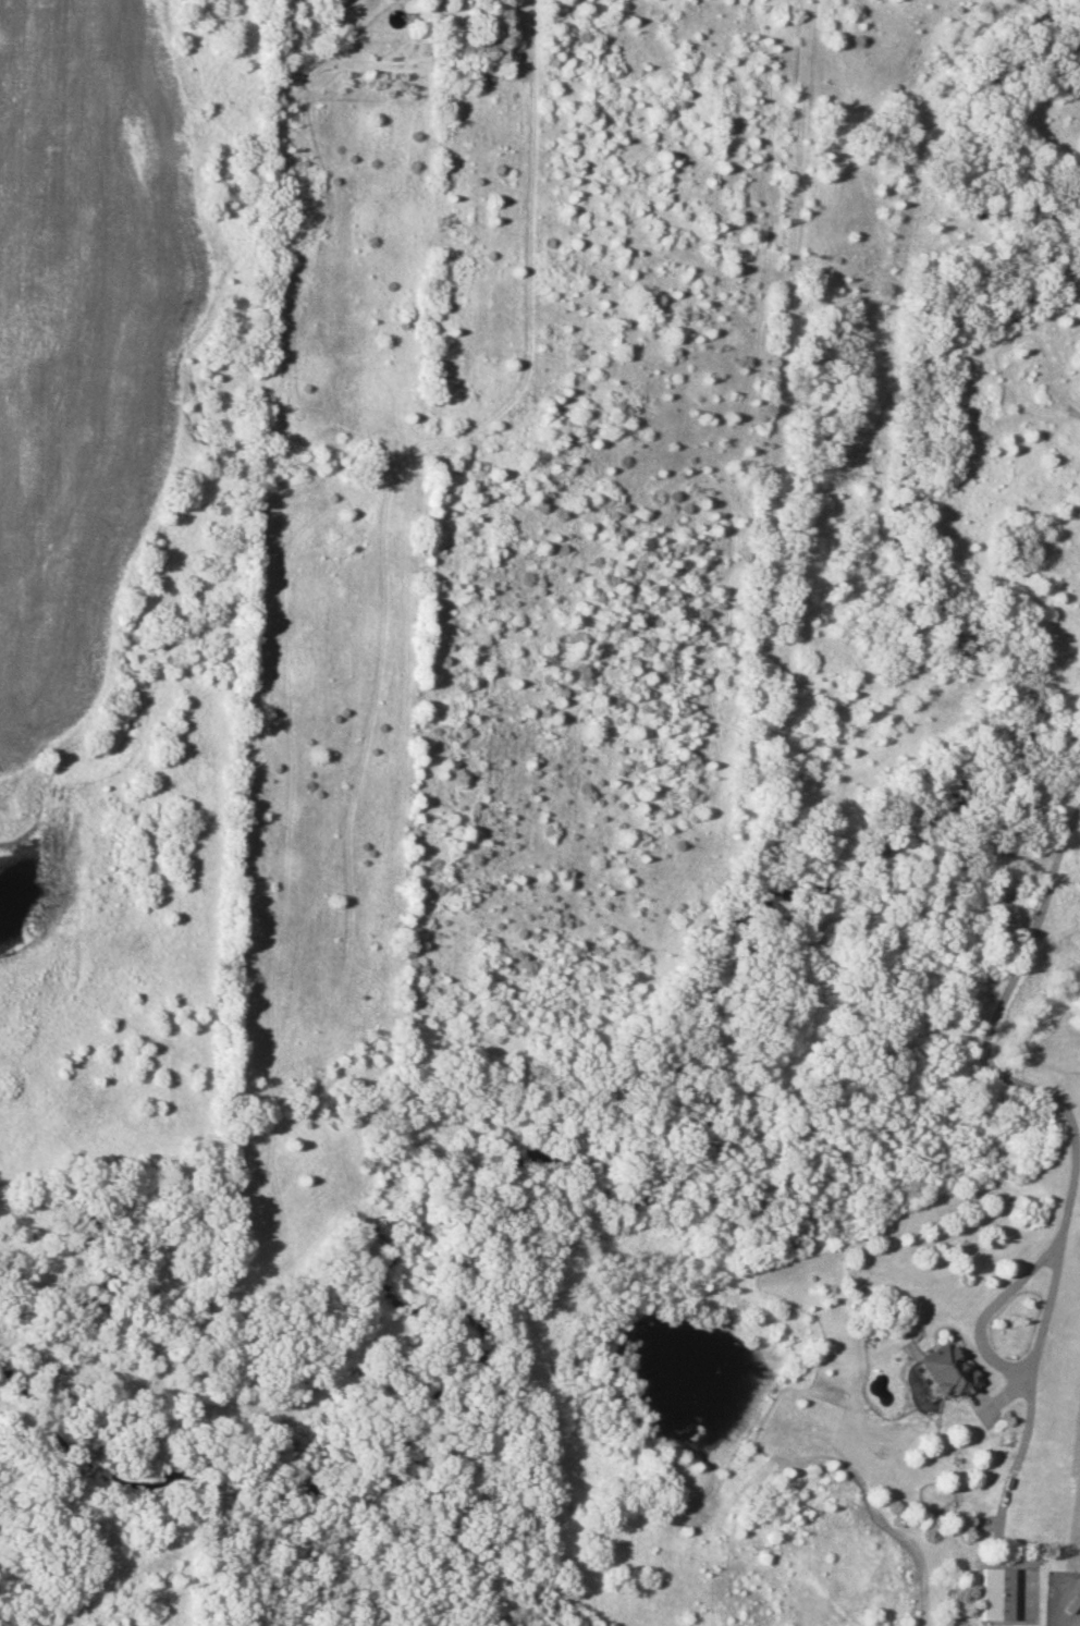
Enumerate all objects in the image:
road: (983, 1042)
road: (993, 1359)
building: (938, 1373)
road: (1018, 1441)
building: (993, 1593)

